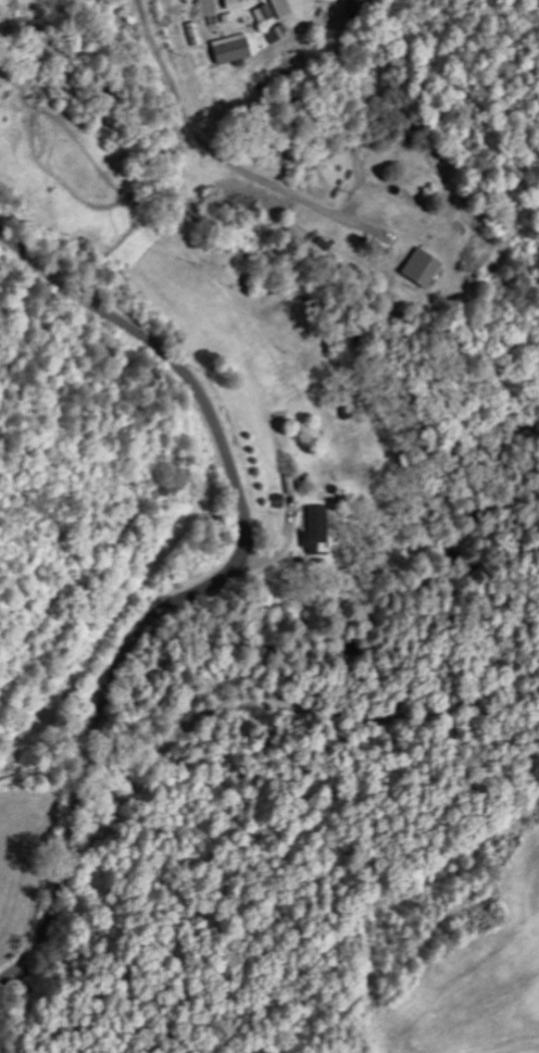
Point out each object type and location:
building: (290, 7)
road: (20, 14)
building: (263, 15)
building: (277, 35)
building: (229, 51)
road: (201, 138)
building: (423, 273)
building: (315, 531)
road: (214, 586)

